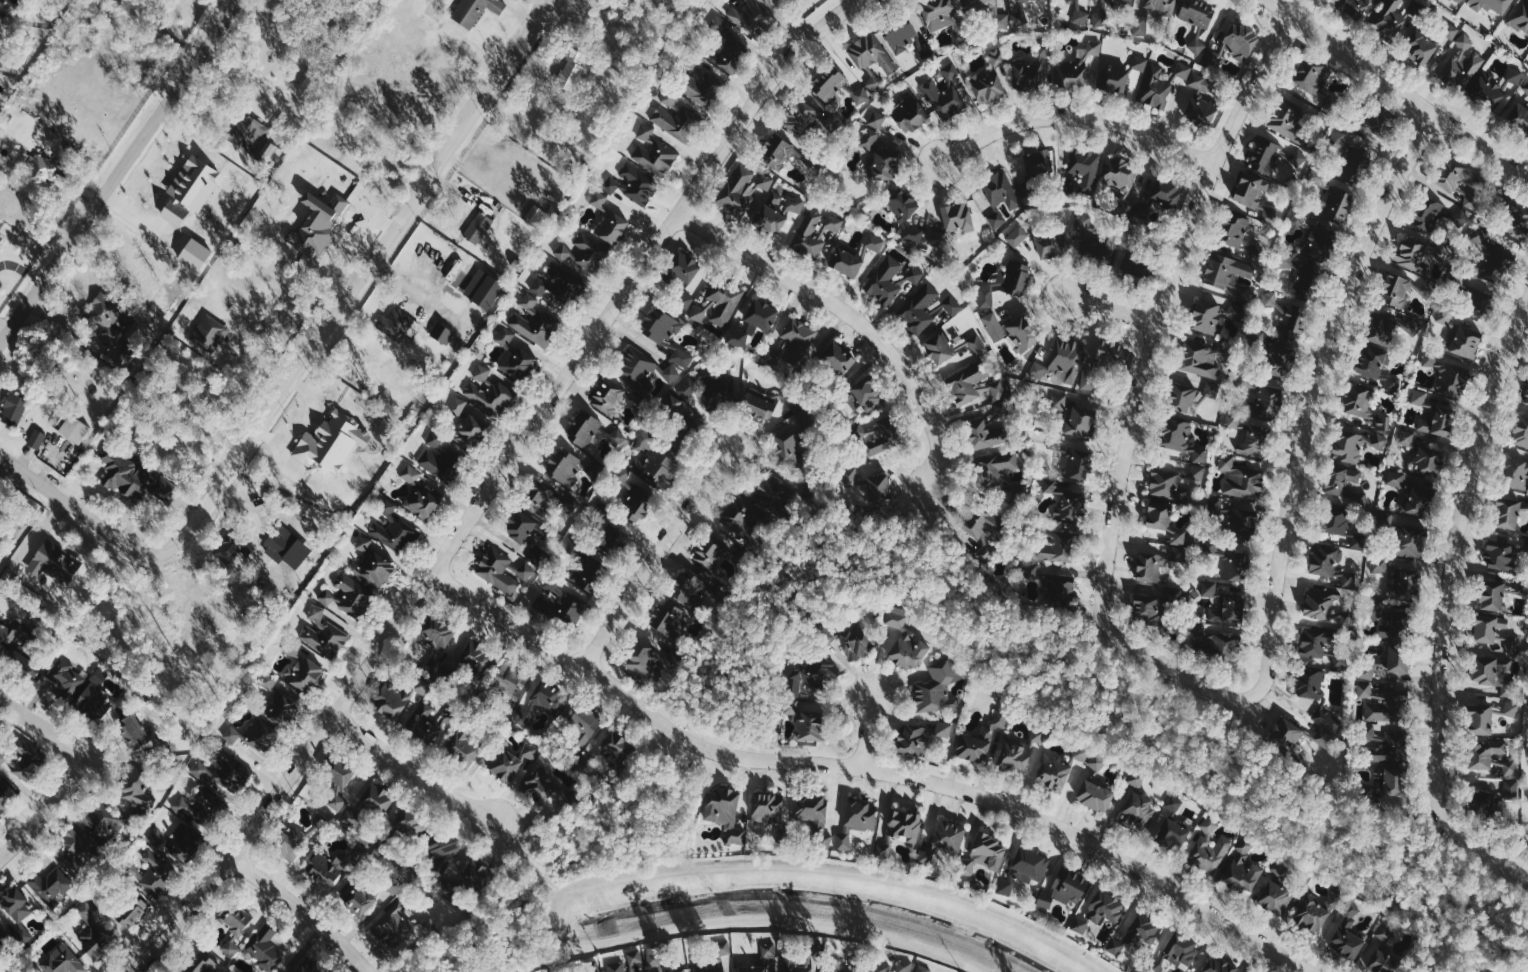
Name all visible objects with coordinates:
building: (819, 0)
building: (1031, 0)
building: (1458, 1)
building: (978, 2)
building: (1492, 5)
building: (1162, 7)
building: (1353, 7)
road: (1304, 9)
building: (474, 10)
building: (1196, 13)
building: (944, 16)
building: (1520, 16)
building: (753, 17)
building: (1081, 17)
building: (1393, 20)
building: (1002, 21)
building: (1140, 25)
building: (1450, 30)
building: (901, 36)
building: (1241, 41)
building: (728, 45)
building: (1197, 45)
building: (926, 48)
building: (1420, 48)
building: (1222, 51)
building: (872, 53)
building: (998, 57)
building: (1140, 62)
building: (1463, 63)
building: (1079, 66)
building: (571, 69)
road: (248, 72)
building: (1029, 76)
building: (1515, 76)
building: (1311, 78)
building: (1113, 80)
building: (829, 83)
building: (988, 85)
building: (696, 89)
building: (1525, 89)
road: (1397, 90)
building: (1488, 91)
building: (945, 99)
building: (1199, 100)
building: (910, 113)
building: (674, 116)
building: (801, 117)
building: (877, 118)
road: (1076, 119)
building: (1518, 119)
building: (1289, 120)
building: (1380, 123)
building: (645, 131)
building: (247, 133)
building: (870, 138)
building: (1340, 139)
building: (776, 152)
building: (655, 156)
building: (1276, 158)
building: (883, 163)
building: (1036, 163)
building: (1355, 164)
building: (1085, 167)
building: (36, 170)
road: (117, 172)
building: (1120, 172)
building: (638, 183)
building: (611, 184)
building: (744, 187)
building: (189, 188)
building: (1000, 188)
building: (1255, 194)
building: (599, 199)
building: (788, 204)
building: (901, 204)
building: (1338, 205)
building: (1427, 213)
building: (956, 215)
building: (1461, 216)
building: (1299, 218)
building: (997, 219)
building: (770, 220)
building: (1517, 221)
building: (317, 223)
building: (611, 226)
building: (478, 227)
building: (1233, 228)
building: (817, 231)
building: (914, 233)
building: (0, 235)
building: (1017, 235)
building: (936, 239)
building: (1319, 241)
building: (1052, 242)
building: (871, 244)
building: (1492, 247)
building: (1102, 250)
building: (582, 252)
building: (194, 253)
building: (1417, 253)
building: (846, 262)
building: (1129, 267)
building: (1225, 269)
building: (1306, 273)
building: (914, 275)
building: (683, 277)
building: (1018, 277)
building: (563, 281)
building: (886, 281)
building: (539, 285)
road: (356, 286)
building: (483, 288)
building: (1395, 289)
building: (986, 297)
building: (1269, 298)
building: (529, 301)
building: (726, 301)
building: (1477, 304)
building: (928, 307)
road: (1112, 308)
building: (703, 310)
building: (759, 314)
road: (849, 315)
building: (1205, 315)
building: (1445, 315)
building: (106, 318)
building: (1291, 322)
building: (661, 324)
building: (399, 325)
building: (535, 326)
building: (1386, 327)
building: (211, 332)
building: (1022, 332)
building: (443, 333)
building: (505, 335)
building: (735, 337)
building: (1258, 337)
building: (797, 338)
building: (1466, 341)
building: (979, 345)
building: (938, 348)
road: (1149, 349)
building: (682, 357)
building: (839, 358)
building: (1103, 359)
building: (1201, 359)
building: (1279, 360)
building: (1062, 361)
building: (1371, 361)
building: (518, 362)
building: (637, 366)
building: (482, 372)
building: (671, 373)
building: (1446, 375)
building: (1392, 383)
building: (723, 388)
building: (975, 388)
building: (1212, 389)
building: (490, 394)
building: (865, 394)
building: (607, 395)
building: (1419, 396)
building: (1180, 397)
building: (1527, 397)
building: (1267, 400)
building: (1059, 401)
building: (758, 403)
building: (458, 405)
building: (1362, 405)
building: (14, 407)
building: (1435, 418)
building: (1234, 419)
building: (1080, 421)
building: (74, 428)
building: (470, 430)
building: (588, 430)
building: (1521, 430)
building: (1175, 433)
building: (618, 435)
building: (984, 435)
building: (435, 437)
building: (1407, 437)
building: (37, 438)
building: (874, 438)
road: (1306, 440)
building: (643, 441)
building: (1055, 441)
building: (1252, 442)
building: (328, 443)
building: (1355, 443)
building: (787, 445)
building: (1199, 453)
building: (1428, 460)
building: (442, 461)
building: (1078, 463)
building: (564, 466)
building: (657, 467)
building: (1198, 472)
building: (411, 473)
building: (1515, 473)
building: (126, 474)
building: (622, 474)
building: (852, 475)
building: (1396, 477)
building: (1241, 479)
building: (1340, 479)
building: (1165, 482)
road: (493, 485)
building: (165, 488)
building: (878, 490)
building: (772, 491)
building: (535, 495)
building: (1361, 499)
building: (1418, 499)
building: (422, 501)
building: (1065, 501)
building: (639, 504)
road: (72, 505)
building: (1506, 513)
building: (743, 516)
building: (1234, 519)
building: (1334, 519)
road: (925, 520)
building: (519, 525)
building: (393, 528)
building: (988, 532)
building: (614, 539)
building: (1359, 540)
building: (1409, 540)
building: (363, 543)
building: (1527, 544)
building: (286, 546)
building: (1055, 548)
building: (232, 550)
building: (710, 552)
building: (1499, 553)
road: (658, 557)
building: (1229, 558)
building: (55, 561)
building: (1329, 563)
building: (1379, 564)
building: (1157, 565)
building: (375, 568)
building: (508, 568)
road: (945, 568)
building: (1049, 583)
building: (1404, 583)
building: (589, 586)
building: (689, 589)
building: (352, 594)
building: (1491, 595)
building: (328, 597)
building: (563, 601)
road: (1448, 603)
building: (1324, 605)
building: (1149, 608)
building: (1229, 609)
building: (1377, 609)
building: (317, 614)
building: (897, 616)
building: (667, 618)
building: (1395, 625)
building: (1488, 626)
building: (1500, 634)
building: (8, 635)
building: (437, 635)
building: (326, 638)
building: (848, 639)
building: (1316, 640)
building: (1513, 643)
building: (1223, 646)
building: (293, 647)
building: (909, 649)
building: (476, 660)
building: (641, 660)
building: (24, 663)
building: (1387, 663)
building: (305, 673)
building: (812, 674)
building: (66, 678)
building: (269, 680)
building: (510, 682)
road: (1160, 688)
building: (937, 689)
building: (1365, 689)
building: (1316, 694)
building: (398, 697)
building: (549, 697)
building: (94, 701)
building: (1388, 707)
building: (1511, 709)
building: (280, 710)
building: (525, 714)
building: (1479, 719)
building: (426, 722)
building: (805, 723)
road: (44, 727)
building: (581, 728)
building: (944, 729)
building: (133, 731)
road: (866, 731)
building: (1286, 733)
building: (253, 734)
building: (1323, 737)
building: (982, 739)
building: (913, 740)
building: (615, 745)
building: (1387, 746)
building: (464, 748)
building: (1491, 756)
building: (2, 757)
building: (26, 758)
building: (511, 758)
building: (1098, 761)
road: (869, 767)
road: (415, 768)
building: (339, 774)
building: (1054, 774)
building: (1137, 779)
building: (1390, 784)
building: (539, 785)
building: (1511, 789)
building: (136, 790)
building: (6, 795)
building: (1094, 795)
building: (377, 798)
building: (336, 801)
building: (1482, 802)
building: (767, 807)
road: (45, 811)
building: (724, 811)
building: (1139, 811)
building: (192, 813)
building: (860, 814)
building: (814, 816)
building: (352, 818)
building: (103, 820)
building: (411, 823)
building: (900, 831)
building: (1174, 832)
building: (948, 836)
building: (844, 839)
building: (291, 841)
building: (1210, 847)
road: (517, 848)
building: (72, 849)
building: (445, 852)
building: (984, 854)
building: (926, 856)
building: (1028, 866)
building: (328, 867)
building: (1281, 867)
building: (1243, 868)
road: (836, 872)
building: (153, 873)
building: (475, 874)
road: (1524, 874)
building: (50, 886)
building: (1005, 887)
building: (1064, 888)
building: (1274, 896)
building: (361, 901)
building: (1104, 907)
road: (306, 911)
building: (1314, 912)
building: (16, 914)
road: (749, 918)
building: (1080, 925)
building: (394, 926)
building: (1, 929)
building: (91, 932)
building: (1136, 933)
road: (1442, 938)
road: (1522, 940)
building: (266, 949)
building: (1181, 949)
building: (769, 950)
building: (720, 957)
building: (656, 959)
building: (64, 961)
building: (1379, 961)
building: (628, 962)
building: (203, 964)
building: (798, 964)
building: (1218, 965)
building: (592, 966)
building: (891, 966)
building: (1155, 966)
building: (752, 968)
building: (923, 968)
building: (830, 971)

